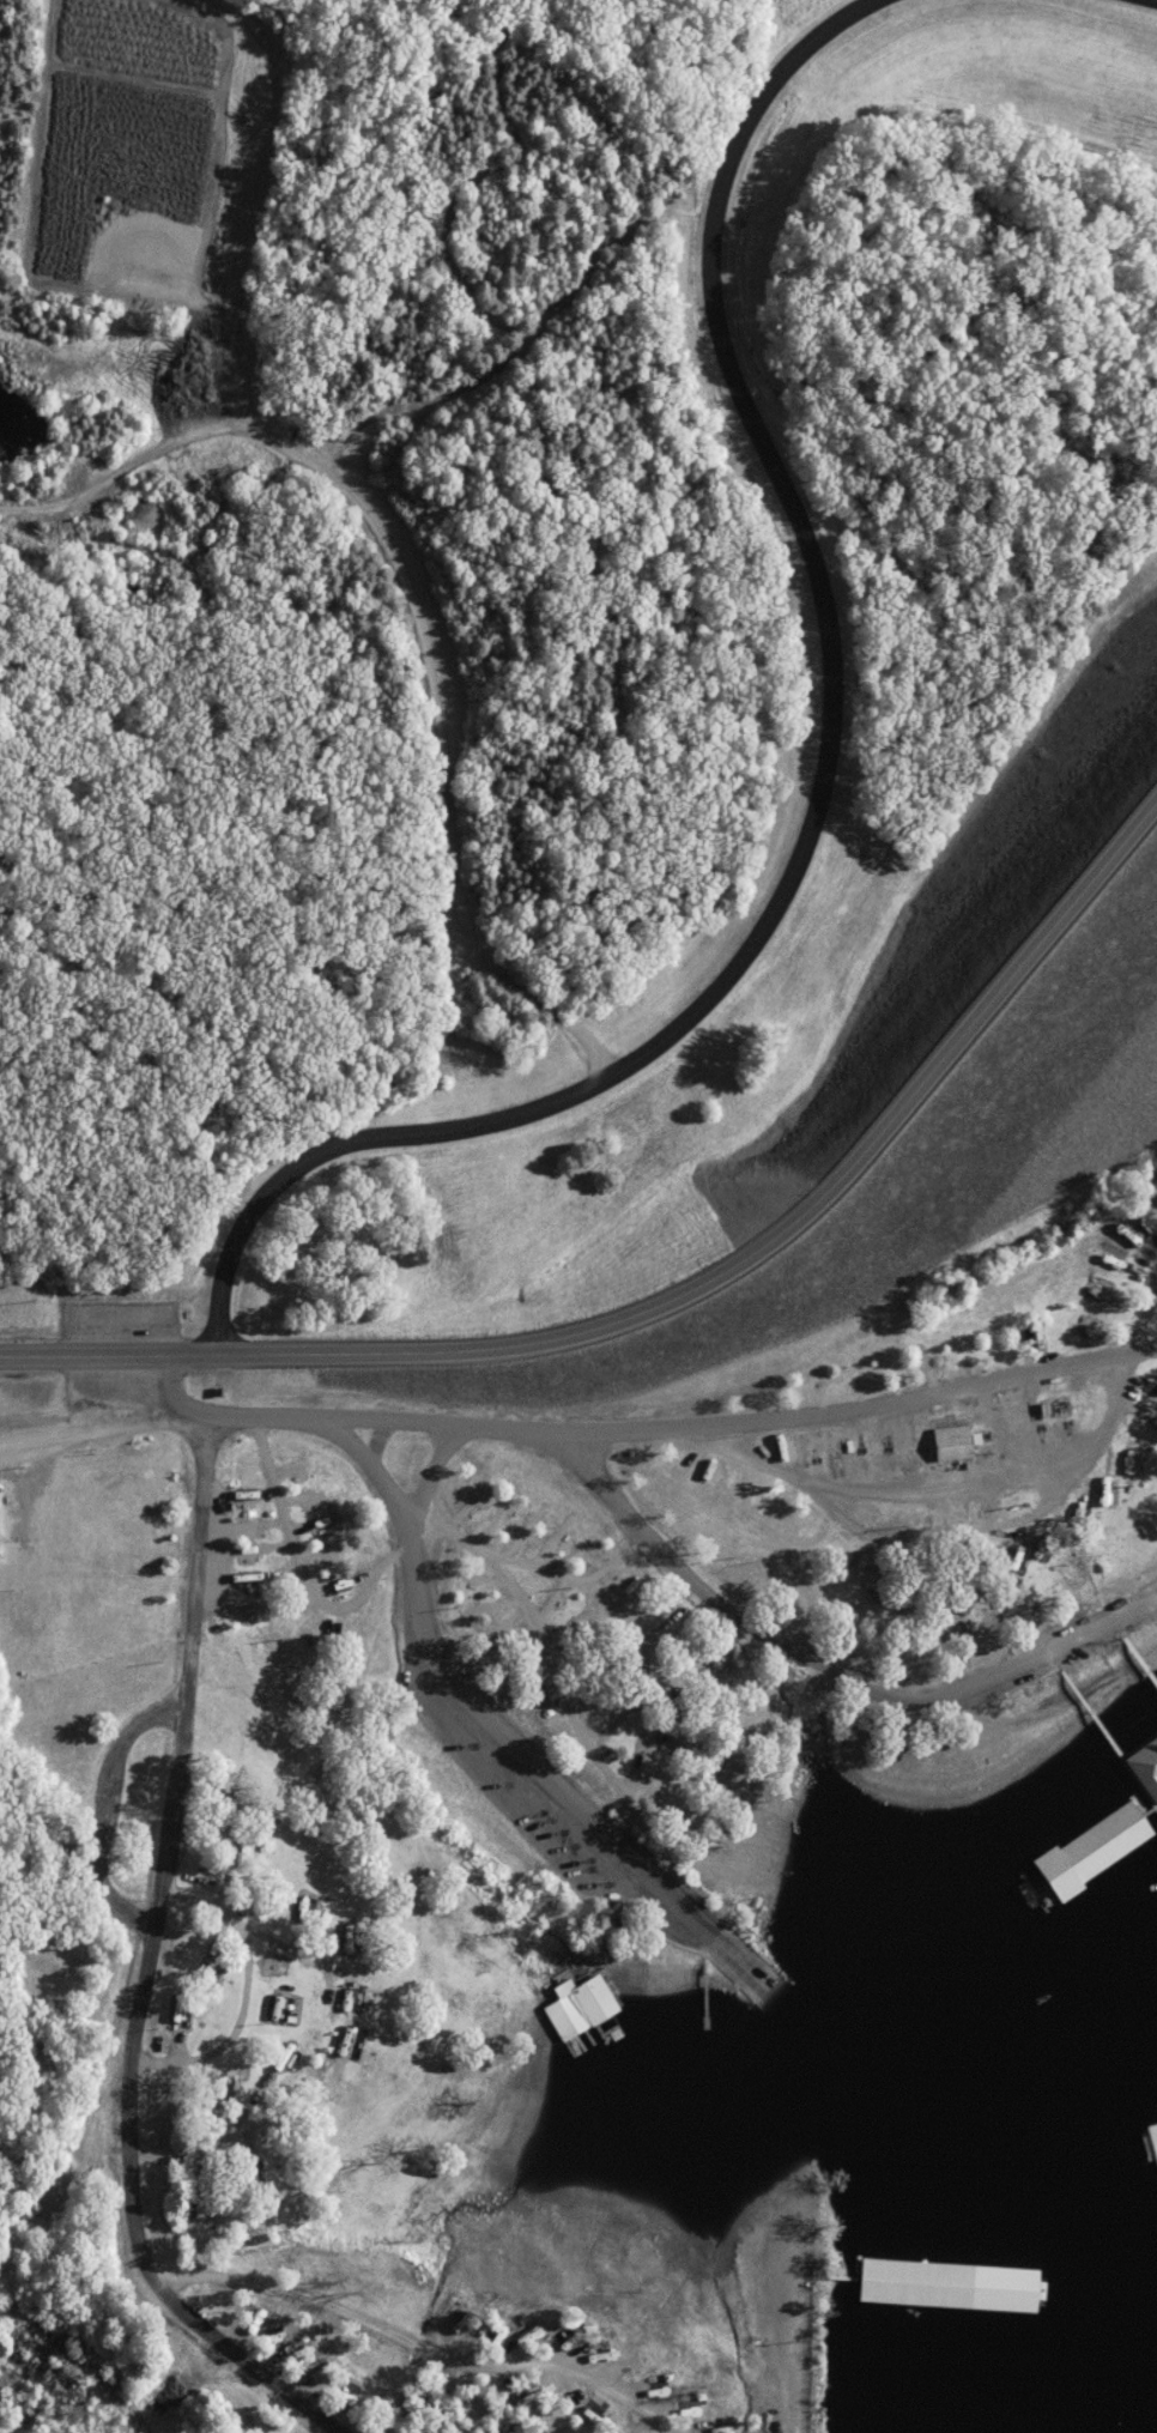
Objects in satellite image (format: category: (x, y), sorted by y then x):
road: (1155, 0)
road: (380, 531)
dam: (947, 957)
road: (382, 1138)
road: (677, 1314)
road: (172, 1384)
building: (1047, 1409)
road: (277, 1422)
building: (939, 1447)
building: (289, 1469)
road: (443, 1476)
road: (596, 1477)
road: (464, 1548)
road: (490, 1750)
road: (722, 1765)
building: (1143, 1774)
building: (222, 1805)
building: (1074, 1834)
building: (236, 1854)
building: (297, 1906)
building: (205, 1977)
road: (287, 1998)
building: (345, 1998)
building: (175, 2019)
road: (83, 2065)
building: (214, 2087)
building: (1153, 2148)
building: (243, 2172)
building: (945, 2289)
road: (802, 2301)

